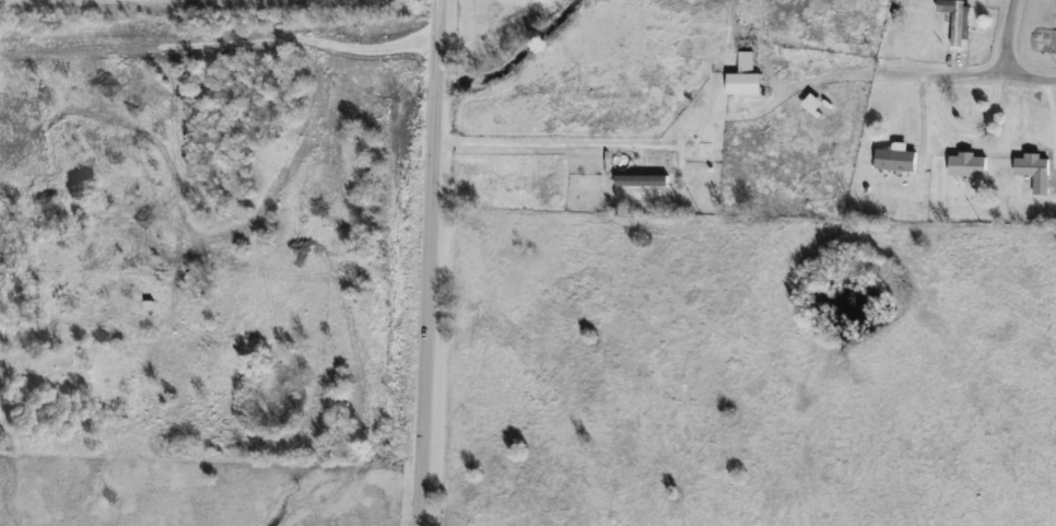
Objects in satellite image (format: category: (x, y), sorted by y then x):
building: (958, 19)
road: (1005, 38)
building: (717, 57)
road: (963, 74)
building: (744, 83)
building: (896, 160)
building: (969, 164)
building: (645, 171)
building: (1035, 171)
road: (427, 262)

